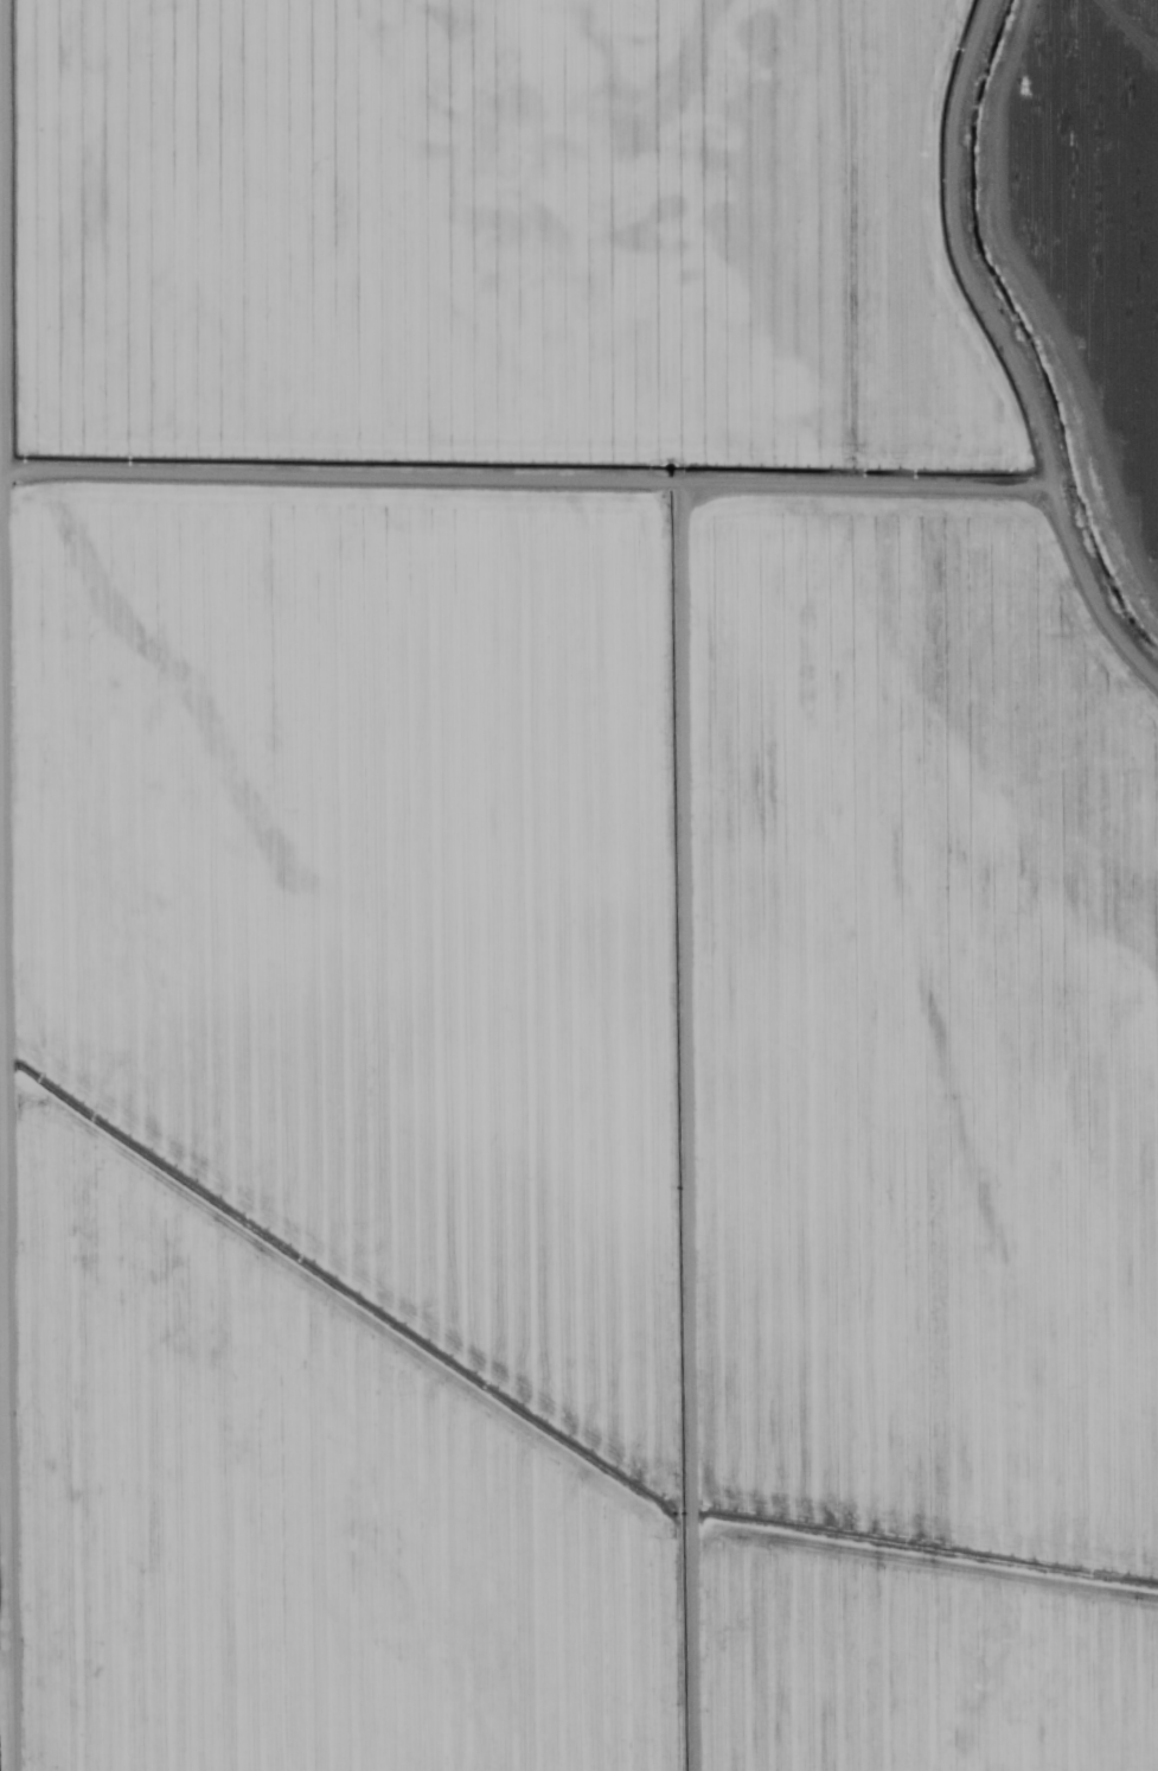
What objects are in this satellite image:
crop: (1108, 230)
road: (28, 885)
crop: (567, 918)

